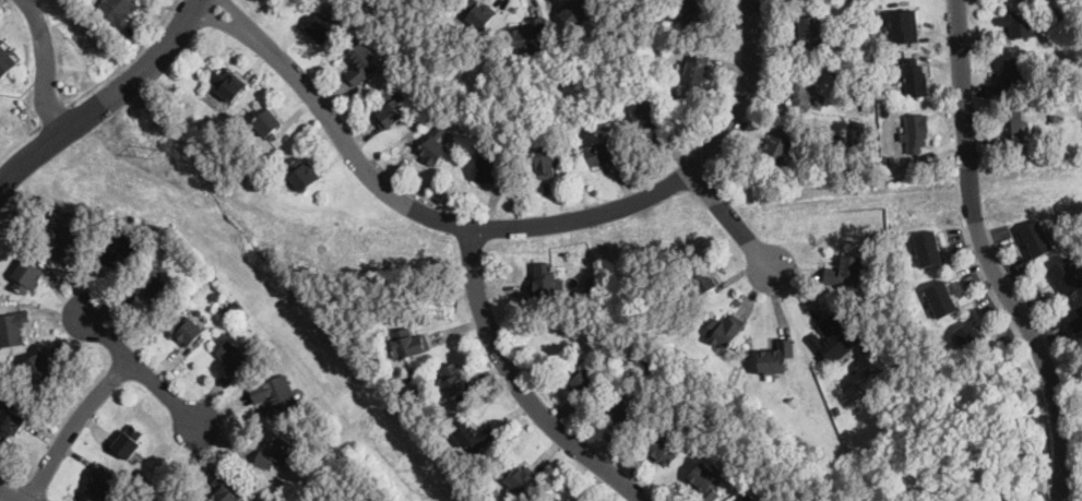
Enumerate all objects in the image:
building: (117, 11)
building: (575, 12)
building: (477, 13)
building: (694, 13)
building: (444, 17)
building: (1018, 24)
building: (904, 25)
building: (322, 27)
building: (666, 29)
building: (807, 31)
building: (528, 35)
building: (876, 44)
building: (8, 57)
road: (127, 57)
road: (47, 61)
building: (361, 62)
building: (697, 69)
building: (1012, 74)
building: (913, 76)
building: (593, 80)
building: (228, 84)
building: (860, 88)
building: (801, 90)
road: (104, 97)
building: (548, 103)
building: (865, 105)
building: (1043, 106)
building: (392, 109)
road: (55, 114)
building: (1055, 117)
building: (499, 118)
building: (652, 120)
building: (267, 122)
building: (1012, 122)
building: (863, 131)
building: (915, 132)
road: (20, 140)
building: (778, 145)
building: (433, 148)
power tower: (155, 152)
building: (604, 153)
building: (547, 159)
building: (885, 160)
building: (487, 169)
building: (301, 174)
road: (730, 220)
road: (502, 226)
building: (1037, 238)
building: (66, 239)
building: (284, 240)
building: (119, 249)
building: (928, 249)
road: (986, 258)
building: (845, 272)
building: (1068, 275)
building: (26, 276)
building: (702, 279)
building: (544, 281)
building: (153, 287)
building: (941, 299)
building: (236, 306)
building: (1077, 319)
building: (236, 327)
building: (13, 329)
building: (186, 330)
building: (723, 332)
building: (970, 335)
road: (1018, 337)
building: (832, 341)
building: (409, 344)
building: (870, 345)
building: (776, 357)
building: (234, 358)
building: (39, 366)
road: (141, 370)
building: (726, 378)
building: (453, 380)
building: (582, 382)
road: (518, 384)
building: (274, 395)
building: (626, 413)
building: (9, 422)
road: (71, 426)
building: (474, 434)
building: (130, 441)
building: (661, 449)
building: (276, 452)
building: (866, 454)
building: (516, 476)
building: (103, 481)
building: (705, 482)
building: (227, 489)
road: (7, 497)
building: (748, 498)
building: (557, 499)
building: (567, 500)

